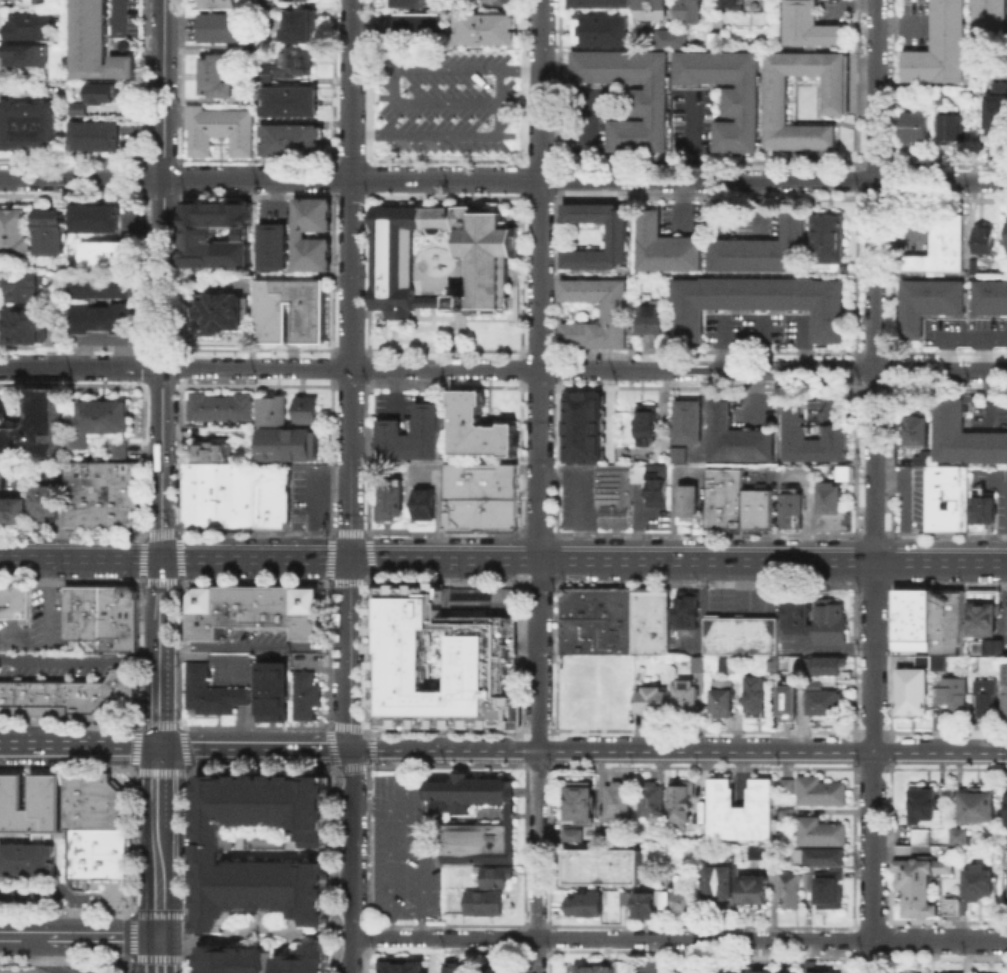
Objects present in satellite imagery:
building: (291, 0)
road: (853, 0)
building: (408, 2)
building: (42, 3)
building: (216, 3)
building: (599, 3)
building: (731, 3)
building: (267, 4)
building: (652, 8)
building: (688, 10)
parking lot: (835, 11)
road: (115, 12)
building: (416, 22)
road: (901, 22)
building: (990, 22)
building: (299, 24)
building: (808, 24)
parking lot: (917, 24)
building: (32, 26)
building: (220, 26)
building: (485, 28)
building: (601, 29)
building: (670, 36)
building: (717, 38)
building: (98, 45)
building: (939, 46)
building: (247, 53)
building: (28, 56)
building: (293, 61)
road: (405, 66)
building: (265, 71)
building: (215, 74)
building: (103, 93)
building: (727, 93)
building: (833, 93)
building: (940, 94)
building: (248, 95)
building: (289, 100)
parking lot: (443, 100)
building: (649, 100)
building: (74, 108)
building: (996, 108)
parking lot: (589, 118)
parking lot: (691, 118)
building: (915, 125)
building: (29, 126)
building: (948, 126)
building: (217, 128)
road: (455, 134)
road: (590, 134)
road: (693, 134)
building: (97, 136)
building: (289, 138)
road: (503, 178)
road: (273, 192)
road: (682, 203)
road: (715, 205)
road: (756, 205)
parking lot: (272, 210)
building: (94, 217)
parking lot: (129, 217)
parking lot: (683, 217)
parking lot: (743, 218)
road: (142, 221)
building: (48, 230)
building: (14, 231)
road: (898, 231)
parking lot: (909, 231)
building: (198, 232)
building: (300, 233)
building: (620, 235)
building: (1006, 235)
building: (827, 236)
building: (983, 238)
building: (272, 245)
building: (666, 245)
building: (941, 245)
building: (763, 247)
building: (106, 252)
building: (972, 265)
building: (827, 266)
building: (393, 274)
road: (161, 279)
road: (350, 280)
building: (24, 286)
building: (102, 286)
building: (989, 296)
building: (58, 300)
building: (757, 301)
building: (927, 301)
building: (616, 311)
building: (221, 313)
building: (102, 316)
building: (652, 317)
building: (24, 324)
building: (313, 324)
parking lot: (757, 330)
building: (58, 331)
parking lot: (964, 331)
road: (966, 331)
parking lot: (102, 333)
road: (723, 340)
road: (760, 340)
road: (802, 340)
road: (945, 349)
road: (980, 349)
road: (503, 366)
road: (394, 390)
road: (989, 395)
parking lot: (393, 403)
building: (219, 405)
building: (306, 408)
building: (272, 409)
parking lot: (756, 412)
parking lot: (826, 413)
parking lot: (987, 413)
building: (98, 419)
building: (689, 422)
building: (34, 426)
building: (478, 426)
building: (648, 426)
building: (586, 427)
building: (915, 428)
building: (412, 434)
building: (965, 434)
building: (737, 438)
building: (812, 438)
building: (288, 443)
building: (117, 449)
building: (213, 449)
building: (677, 454)
building: (922, 457)
road: (8, 470)
building: (844, 471)
parking lot: (13, 472)
parking lot: (425, 473)
parking lot: (988, 477)
road: (996, 478)
road: (542, 486)
road: (874, 486)
building: (101, 493)
building: (217, 494)
building: (270, 495)
parking lot: (309, 495)
building: (480, 495)
building: (657, 497)
parking lot: (910, 497)
building: (946, 497)
building: (390, 498)
building: (726, 499)
building: (45, 500)
building: (614, 500)
road: (316, 501)
parking lot: (577, 502)
building: (424, 503)
road: (905, 504)
road: (62, 505)
road: (438, 505)
building: (690, 505)
building: (982, 506)
building: (14, 507)
building: (834, 508)
building: (760, 510)
building: (791, 510)
road: (1004, 520)
road: (80, 558)
traffic signals: (160, 559)
traffic signals: (351, 560)
road: (583, 560)
road: (159, 594)
building: (979, 598)
road: (47, 600)
building: (478, 600)
building: (14, 601)
parking lot: (744, 605)
building: (223, 608)
building: (293, 608)
parking lot: (46, 616)
building: (100, 616)
building: (798, 616)
building: (1005, 617)
building: (906, 621)
building: (979, 621)
building: (616, 622)
building: (833, 624)
building: (943, 624)
building: (688, 627)
parking lot: (13, 634)
building: (743, 636)
road: (255, 644)
building: (998, 648)
road: (159, 650)
road: (351, 653)
road: (79, 656)
building: (485, 656)
building: (797, 662)
building: (736, 664)
building: (700, 666)
building: (828, 666)
parking lot: (50, 668)
building: (813, 682)
building: (270, 690)
building: (952, 691)
building: (211, 693)
building: (907, 694)
building: (69, 695)
building: (303, 695)
building: (684, 696)
building: (724, 698)
building: (651, 699)
building: (756, 699)
building: (988, 700)
building: (790, 702)
building: (1006, 702)
building: (827, 705)
road: (158, 707)
road: (79, 744)
traffic signals: (158, 745)
road: (254, 745)
traffic signals: (351, 747)
road: (678, 751)
building: (785, 785)
road: (157, 786)
building: (818, 790)
building: (93, 800)
building: (652, 801)
building: (30, 802)
building: (683, 803)
road: (379, 804)
building: (581, 804)
building: (978, 805)
building: (1006, 807)
building: (619, 808)
building: (926, 808)
building: (743, 812)
building: (784, 814)
building: (507, 818)
building: (818, 831)
building: (698, 836)
building: (961, 836)
building: (575, 837)
building: (923, 838)
road: (351, 841)
parking lot: (398, 848)
road: (157, 850)
building: (97, 852)
building: (211, 853)
building: (761, 853)
building: (24, 857)
building: (820, 859)
building: (602, 864)
building: (675, 877)
building: (492, 878)
building: (723, 880)
building: (810, 882)
building: (981, 882)
building: (917, 883)
road: (56, 888)
road: (426, 892)
building: (754, 893)
building: (790, 893)
building: (832, 893)
parking lot: (36, 894)
building: (482, 901)
building: (681, 901)
building: (637, 902)
building: (586, 903)
road: (156, 904)
building: (950, 905)
road: (252, 928)
road: (77, 937)
traffic signals: (156, 937)
road: (678, 938)
road: (149, 954)
road: (166, 954)
road: (350, 955)
road: (44, 956)
building: (231, 960)
building: (300, 961)
building: (810, 964)
building: (22, 967)
parking lot: (22, 967)
building: (402, 967)
building: (459, 969)
building: (592, 970)
building: (787, 970)
building: (498, 971)
building: (757, 971)
building: (725, 972)
building: (954, 972)

